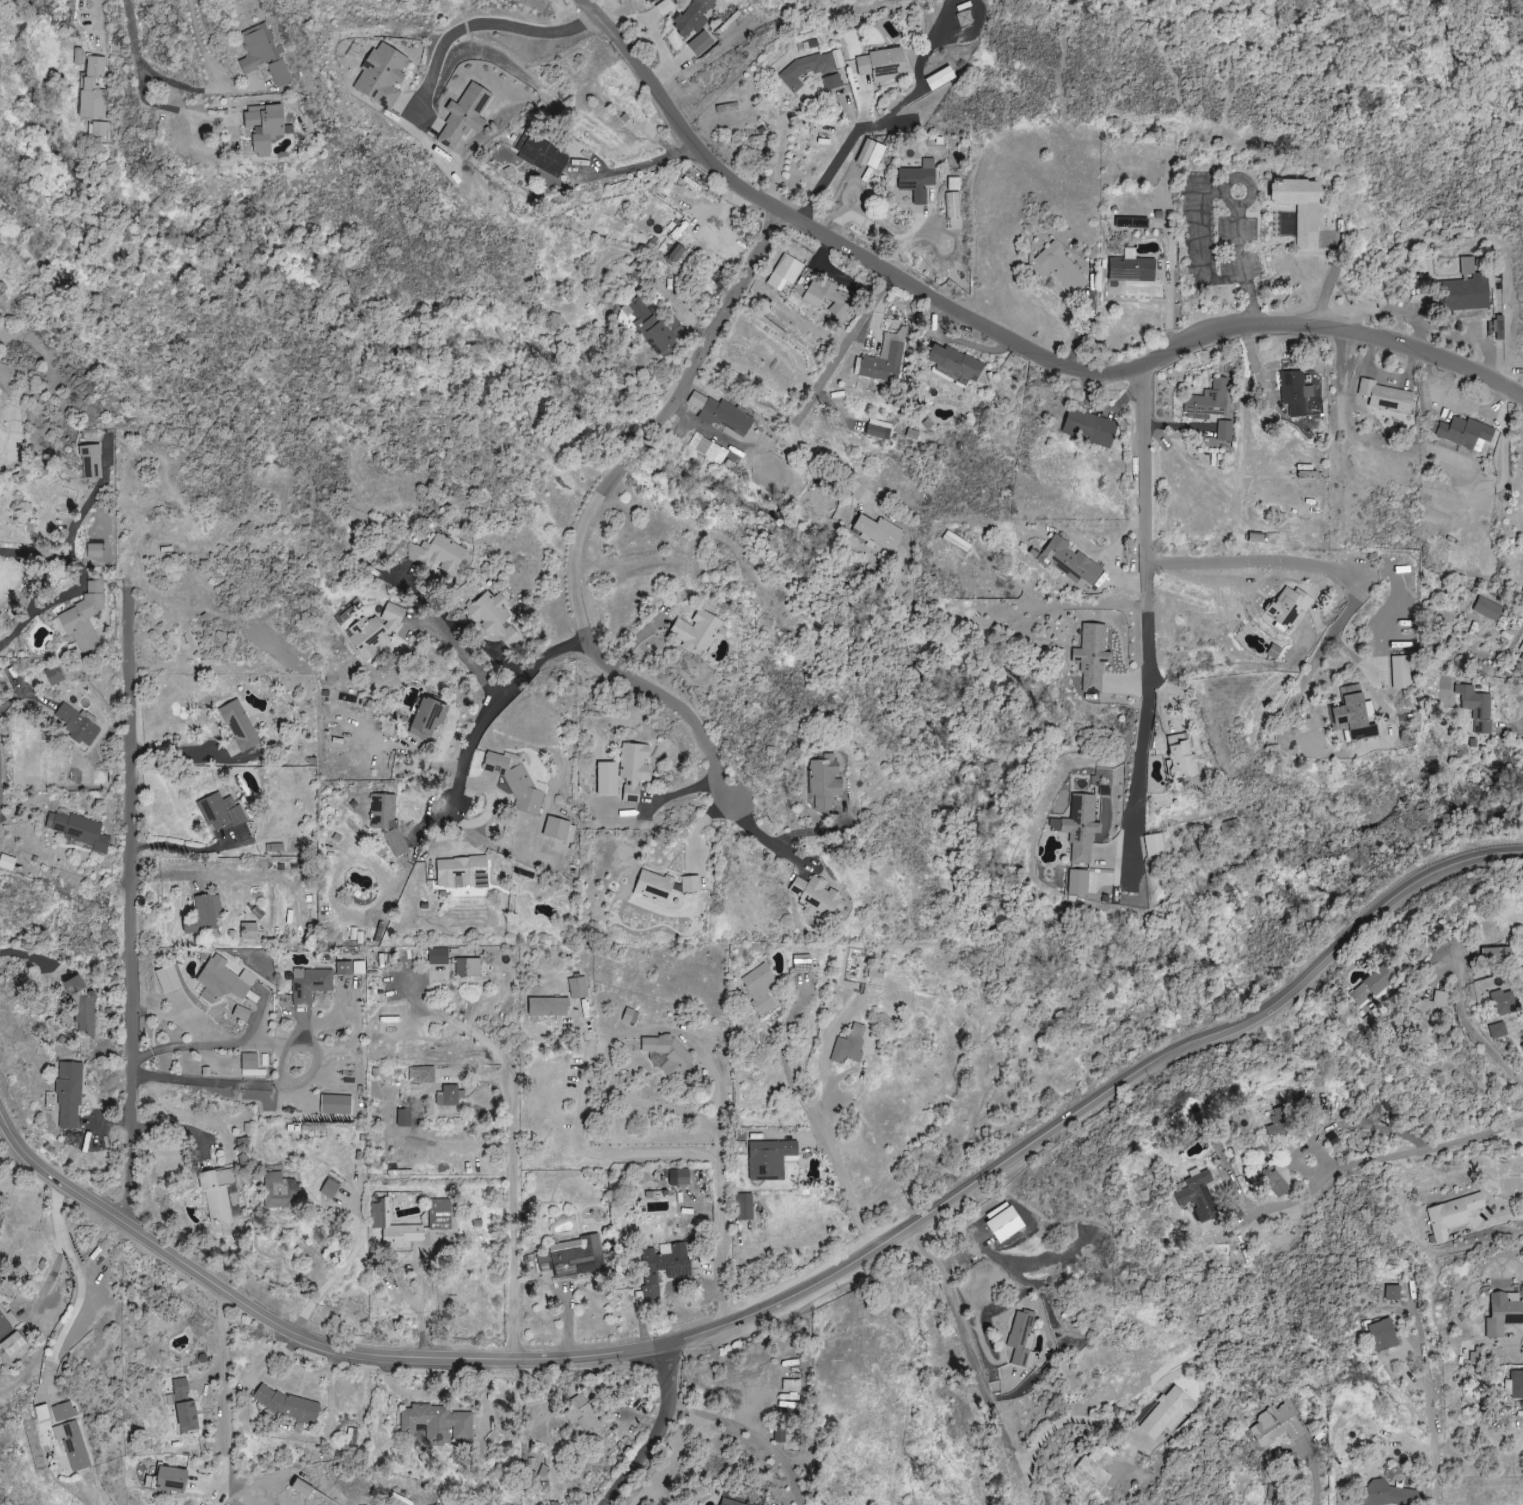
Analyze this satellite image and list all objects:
building: (693, 17)
building: (964, 18)
road: (482, 23)
building: (700, 43)
road: (102, 44)
building: (260, 49)
building: (880, 63)
building: (806, 69)
building: (279, 72)
building: (381, 76)
building: (938, 78)
building: (832, 81)
road: (191, 86)
building: (93, 88)
road: (150, 101)
road: (794, 114)
building: (463, 116)
road: (879, 122)
building: (261, 127)
building: (99, 128)
building: (869, 154)
building: (538, 156)
road: (634, 168)
building: (917, 180)
building: (954, 183)
building: (953, 204)
building: (1297, 206)
road: (872, 225)
building: (674, 254)
building: (1130, 267)
building: (1062, 269)
building: (784, 271)
building: (1465, 288)
building: (825, 296)
building: (0, 306)
building: (648, 323)
road: (1004, 338)
building: (954, 361)
building: (1294, 392)
road: (811, 397)
building: (1385, 397)
building: (1207, 401)
building: (721, 413)
building: (1088, 426)
building: (878, 428)
building: (1224, 430)
building: (708, 448)
building: (90, 460)
building: (1522, 472)
road: (92, 500)
road: (593, 512)
building: (877, 531)
building: (956, 541)
building: (93, 550)
building: (437, 553)
building: (1068, 561)
road: (1152, 561)
road: (81, 583)
building: (1286, 606)
building: (1486, 608)
building: (82, 617)
building: (492, 617)
building: (374, 631)
building: (698, 631)
road: (450, 635)
building: (1520, 654)
building: (1091, 656)
building: (1400, 672)
building: (53, 674)
road: (1149, 699)
road: (673, 707)
building: (1475, 707)
building: (1350, 716)
building: (424, 718)
building: (75, 724)
building: (238, 724)
road: (1512, 727)
road: (1305, 749)
road: (185, 753)
building: (1178, 756)
building: (633, 767)
building: (605, 778)
building: (823, 781)
building: (515, 783)
building: (221, 811)
building: (385, 817)
building: (1078, 827)
building: (77, 829)
building: (558, 829)
road: (786, 837)
building: (1152, 844)
road: (182, 845)
building: (7, 861)
building: (461, 872)
building: (689, 884)
building: (652, 885)
building: (815, 894)
road: (136, 896)
building: (204, 912)
building: (247, 930)
building: (1496, 953)
building: (437, 955)
building: (467, 967)
building: (343, 968)
building: (219, 982)
building: (311, 983)
building: (1373, 984)
building: (577, 987)
building: (758, 988)
building: (1503, 1002)
building: (547, 1006)
building: (81, 1009)
building: (1429, 1010)
building: (240, 1013)
building: (629, 1016)
road: (1464, 1018)
road: (638, 1029)
building: (1497, 1029)
road: (209, 1045)
building: (849, 1045)
building: (667, 1052)
building: (250, 1065)
road: (224, 1082)
building: (68, 1095)
building: (448, 1095)
road: (810, 1117)
road: (1414, 1149)
road: (674, 1153)
building: (768, 1159)
road: (518, 1166)
road: (18, 1175)
building: (678, 1177)
building: (1273, 1181)
building: (328, 1188)
building: (1198, 1196)
building: (213, 1197)
building: (744, 1206)
building: (438, 1214)
building: (1450, 1215)
building: (1002, 1224)
building: (392, 1227)
building: (571, 1257)
road: (343, 1268)
building: (677, 1273)
road: (83, 1287)
building: (1391, 1292)
road: (783, 1298)
building: (1502, 1312)
building: (6, 1323)
building: (1380, 1335)
building: (1475, 1356)
building: (1516, 1385)
road: (985, 1387)
road: (225, 1393)
building: (285, 1404)
road: (1430, 1410)
building: (63, 1411)
building: (40, 1412)
building: (582, 1413)
building: (1166, 1413)
building: (437, 1423)
building: (1275, 1425)
road: (658, 1428)
road: (752, 1433)
building: (72, 1444)
building: (1099, 1458)
building: (541, 1470)
road: (1315, 1471)
building: (1090, 1472)
building: (168, 1478)
building: (298, 1488)
building: (1384, 1494)
building: (729, 1502)

